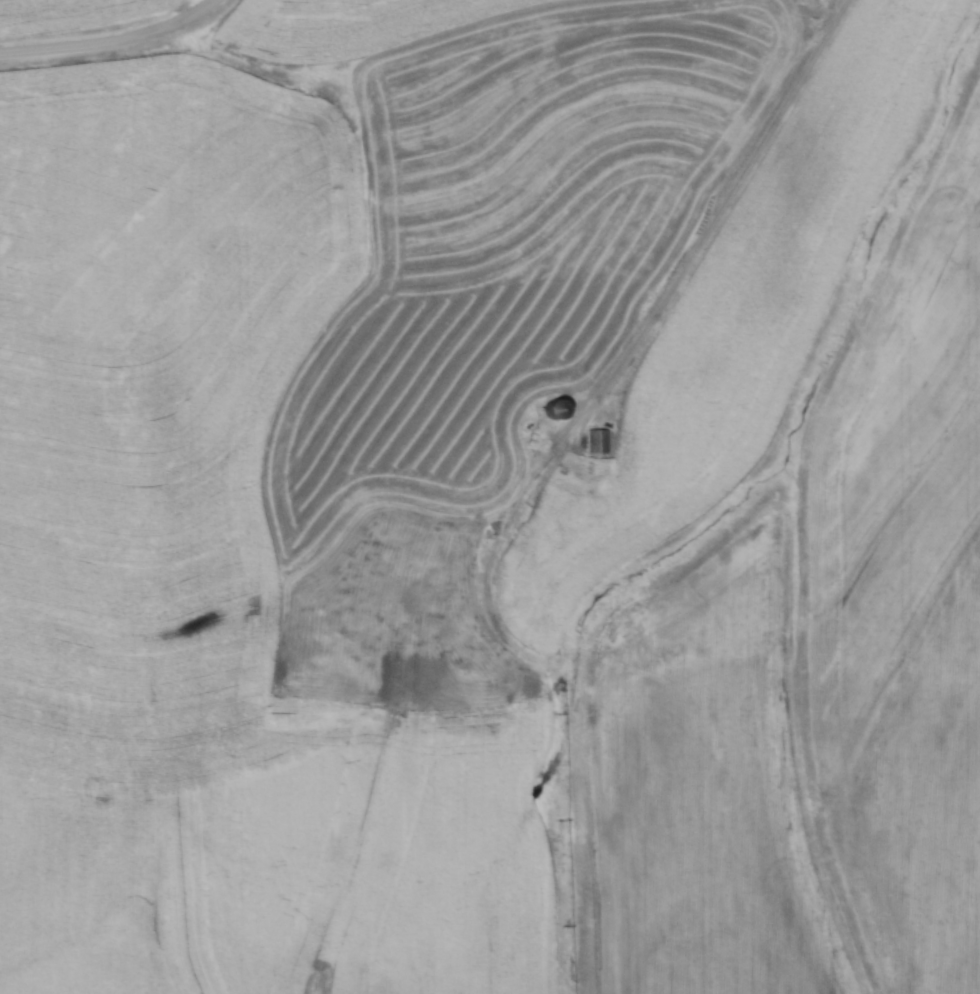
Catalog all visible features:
road: (117, 41)
road: (685, 275)
building: (549, 408)
building: (594, 440)
building: (422, 599)
building: (406, 682)

